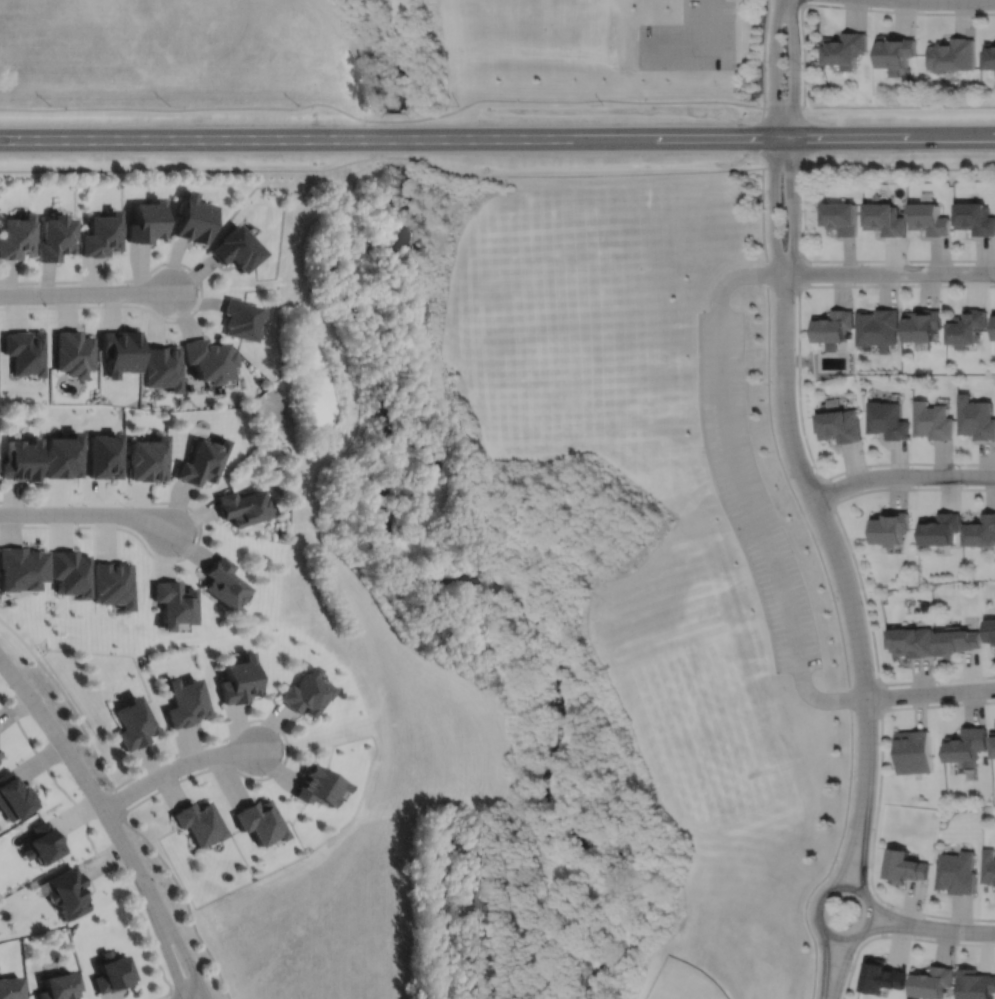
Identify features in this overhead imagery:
road: (800, 1)
road: (739, 4)
road: (845, 7)
road: (725, 9)
road: (684, 11)
park: (536, 17)
parking lot: (689, 39)
road: (698, 46)
building: (846, 48)
building: (897, 52)
road: (763, 53)
building: (952, 53)
building: (990, 54)
park: (371, 61)
road: (772, 67)
road: (793, 67)
road: (494, 97)
road: (497, 136)
road: (760, 136)
road: (381, 156)
road: (782, 167)
road: (898, 167)
road: (793, 204)
road: (773, 205)
building: (843, 217)
building: (192, 218)
building: (974, 218)
building: (886, 219)
building: (929, 219)
building: (146, 221)
building: (101, 234)
building: (17, 236)
building: (55, 237)
building: (236, 248)
road: (851, 259)
street lamp: (166, 264)
road: (799, 272)
road: (889, 272)
park: (563, 275)
road: (200, 290)
road: (86, 292)
street lamp: (48, 303)
building: (241, 319)
building: (921, 325)
building: (994, 326)
building: (834, 327)
building: (878, 328)
building: (965, 328)
building: (119, 351)
building: (26, 352)
building: (73, 352)
building: (208, 359)
building: (161, 368)
road: (798, 374)
park: (571, 396)
building: (976, 419)
building: (888, 421)
building: (933, 421)
building: (841, 426)
building: (63, 456)
building: (103, 456)
building: (23, 460)
building: (147, 460)
building: (200, 463)
road: (901, 475)
road: (741, 490)
parking lot: (751, 491)
road: (825, 491)
street lamp: (123, 504)
building: (240, 508)
road: (86, 514)
street lamp: (49, 524)
building: (892, 526)
building: (941, 527)
building: (981, 528)
road: (829, 535)
road: (198, 536)
street lamp: (181, 555)
building: (22, 566)
road: (855, 567)
building: (72, 570)
building: (113, 582)
road: (829, 584)
building: (222, 585)
park: (551, 590)
building: (173, 605)
building: (991, 629)
building: (956, 639)
building: (912, 640)
building: (240, 680)
building: (304, 692)
road: (930, 692)
road: (66, 696)
road: (879, 696)
street lamp: (43, 699)
building: (187, 702)
building: (135, 723)
park: (702, 733)
road: (286, 740)
building: (993, 744)
building: (966, 745)
building: (914, 752)
street lamp: (176, 757)
road: (77, 766)
road: (177, 767)
street lamp: (268, 774)
street lamp: (74, 779)
building: (318, 786)
building: (15, 796)
road: (119, 799)
road: (876, 806)
building: (262, 821)
building: (200, 822)
road: (92, 841)
building: (45, 843)
road: (848, 847)
road: (862, 848)
road: (852, 860)
building: (989, 866)
building: (904, 867)
building: (956, 872)
street lamp: (156, 881)
street lamp: (136, 888)
building: (69, 893)
road: (186, 898)
road: (896, 916)
road: (884, 918)
road: (819, 922)
road: (894, 927)
road: (961, 930)
road: (897, 935)
road: (178, 939)
road: (164, 941)
road: (833, 962)
road: (825, 963)
street lamp: (199, 964)
road: (842, 965)
building: (114, 974)
building: (881, 977)
road: (194, 978)
park: (681, 982)
building: (931, 982)
building: (975, 984)
building: (61, 987)
building: (12, 988)
road: (172, 994)
road: (164, 995)
road: (197, 996)

